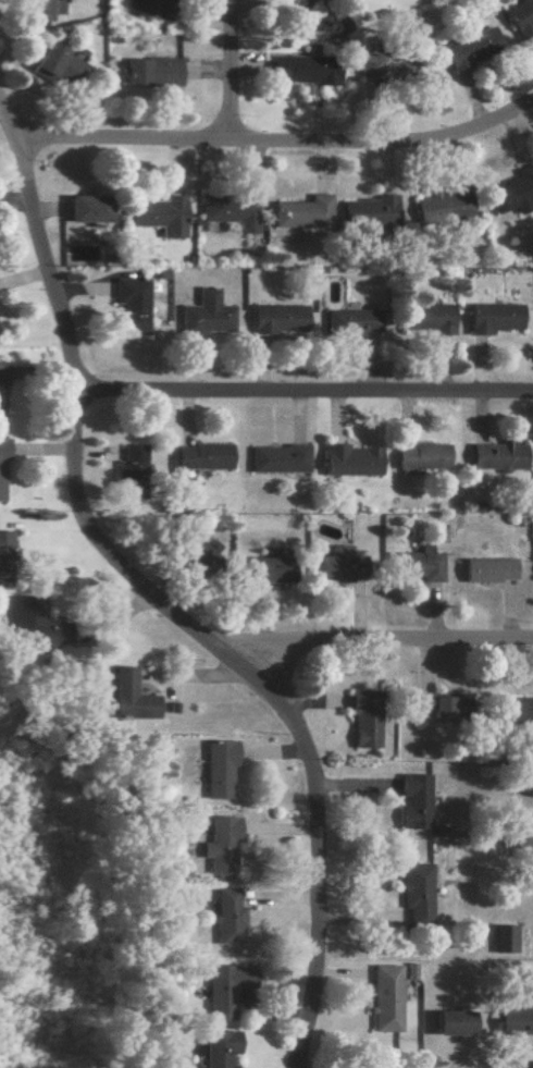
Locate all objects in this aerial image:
building: (286, 1)
building: (147, 7)
building: (39, 9)
building: (519, 16)
building: (469, 47)
building: (54, 63)
building: (383, 66)
road: (224, 67)
building: (300, 69)
building: (148, 71)
road: (1, 135)
road: (272, 137)
building: (511, 191)
building: (85, 208)
building: (439, 208)
building: (226, 210)
building: (365, 211)
building: (298, 212)
building: (156, 214)
building: (127, 304)
building: (201, 314)
building: (425, 317)
building: (491, 317)
building: (273, 318)
building: (346, 321)
road: (298, 391)
building: (198, 455)
building: (495, 455)
building: (418, 456)
building: (273, 458)
building: (346, 459)
building: (125, 470)
building: (0, 556)
building: (334, 564)
building: (413, 564)
building: (265, 567)
building: (484, 569)
road: (161, 610)
building: (21, 619)
road: (365, 636)
building: (123, 696)
building: (426, 705)
building: (513, 710)
building: (358, 719)
building: (213, 768)
building: (410, 801)
building: (215, 845)
building: (412, 893)
building: (223, 917)
building: (499, 938)
building: (220, 989)
building: (380, 998)
building: (512, 1022)
building: (448, 1023)
building: (213, 1048)

